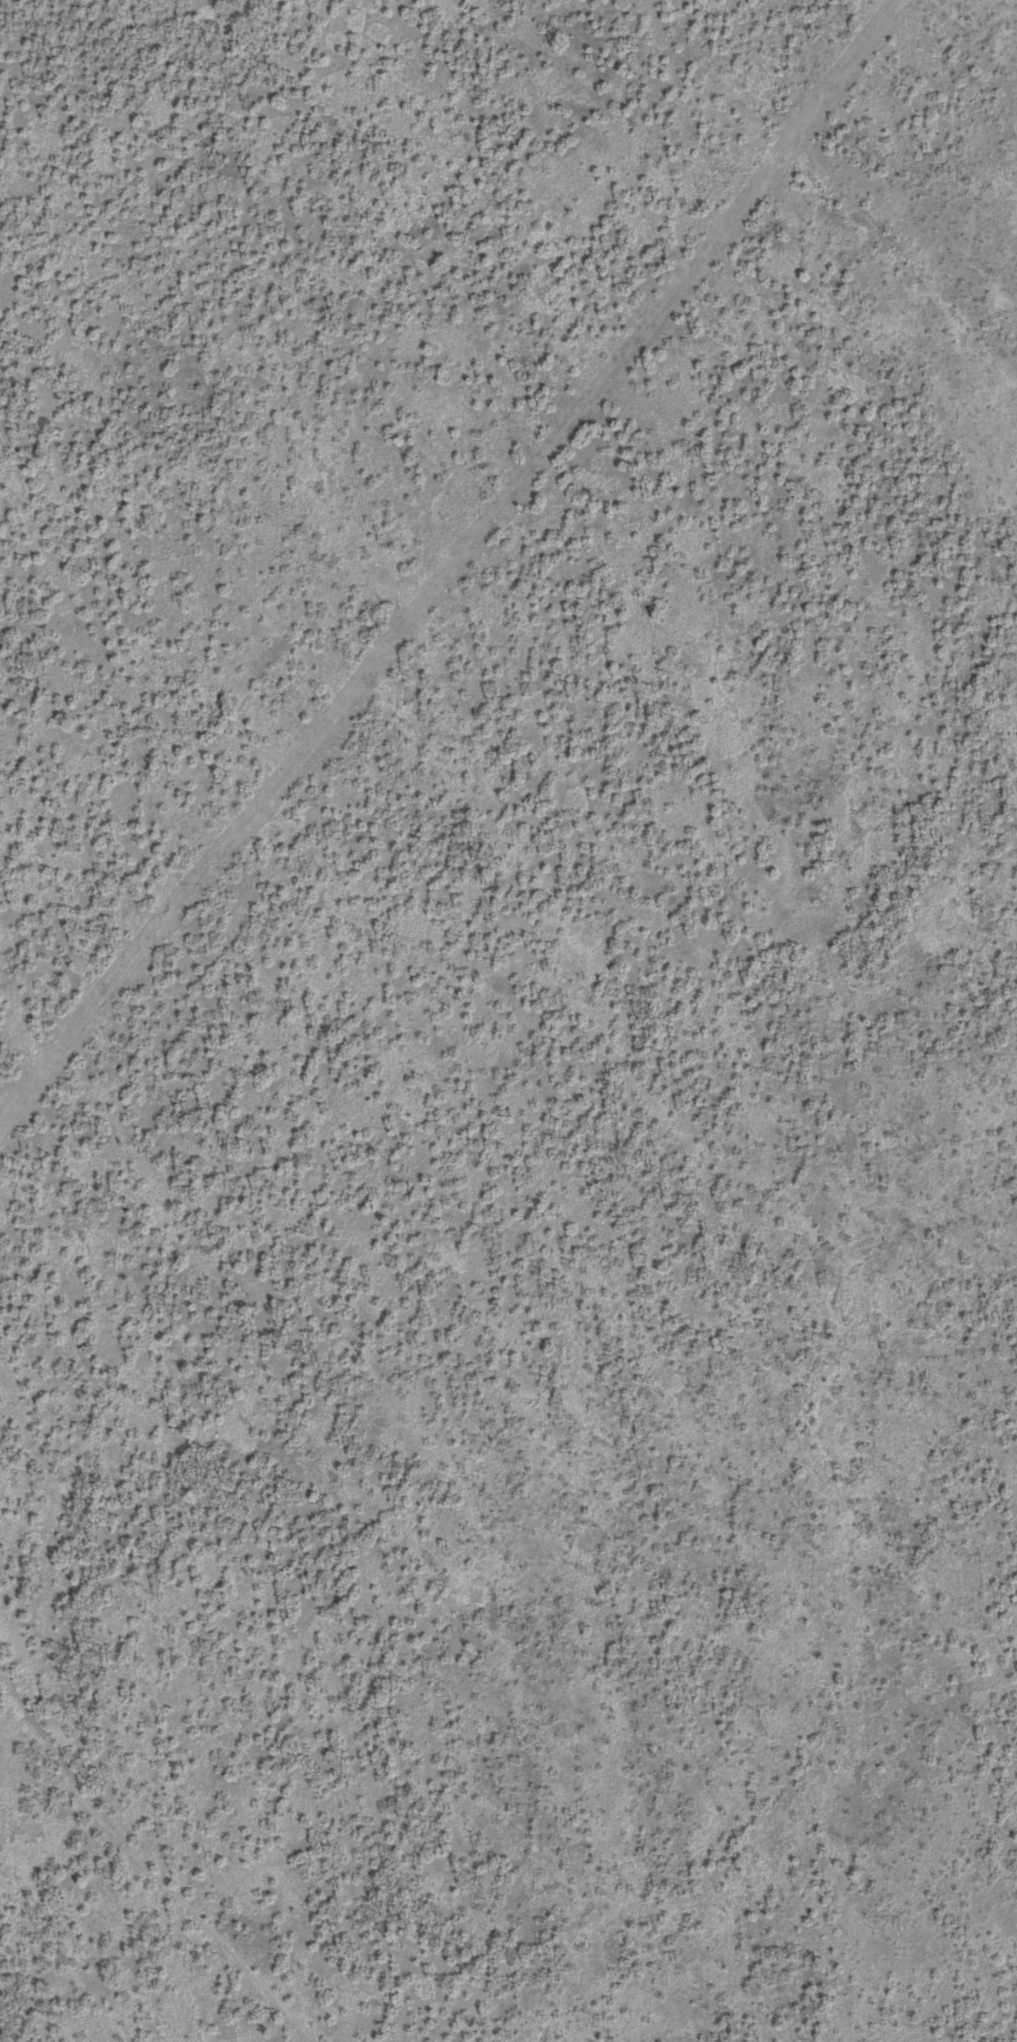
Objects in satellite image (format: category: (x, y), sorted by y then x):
road: (136, 1874)

